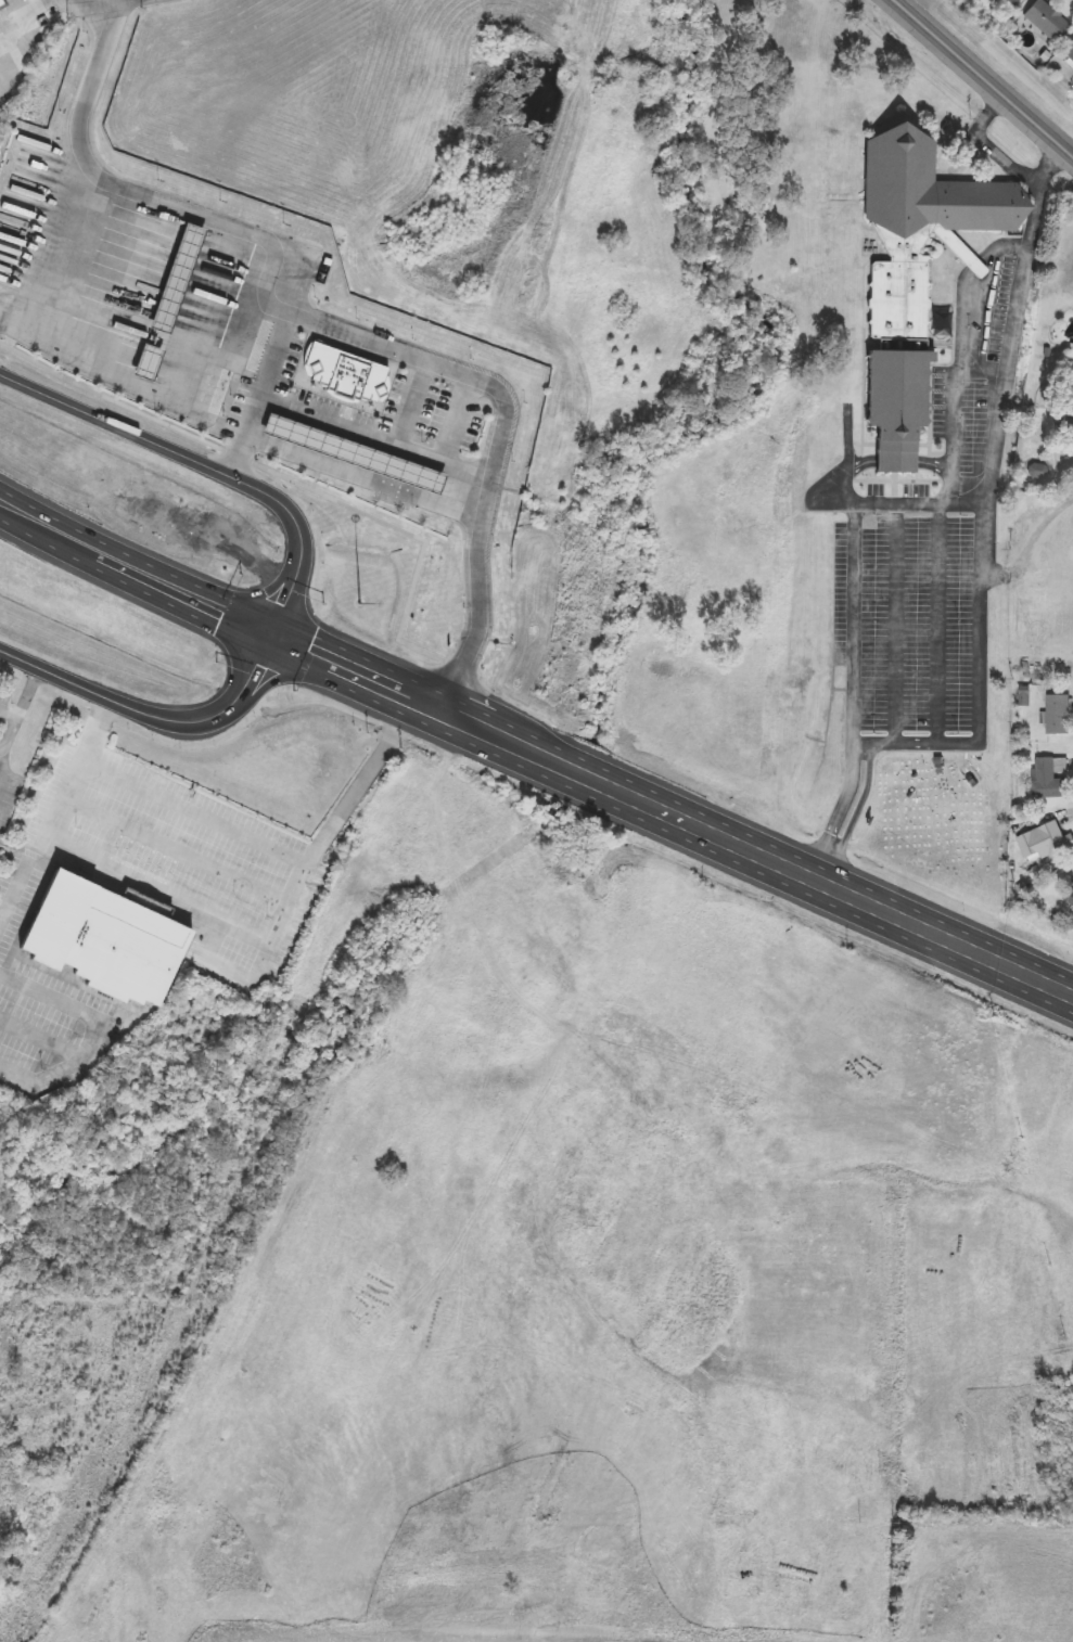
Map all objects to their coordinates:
road: (89, 1)
building: (1010, 2)
building: (1, 7)
road: (21, 8)
road: (26, 14)
building: (1046, 21)
building: (1069, 54)
road: (984, 76)
road: (1006, 161)
road: (77, 167)
road: (207, 215)
building: (911, 275)
road: (971, 286)
building: (345, 370)
road: (464, 374)
road: (956, 412)
building: (1064, 427)
road: (373, 432)
building: (353, 451)
gas station: (353, 451)
road: (850, 456)
road: (902, 461)
building: (1038, 471)
road: (314, 478)
road: (299, 483)
road: (980, 517)
road: (51, 529)
parking lot: (922, 568)
road: (296, 580)
road: (261, 594)
road: (189, 595)
street lamp: (363, 606)
building: (1031, 614)
road: (898, 624)
road: (940, 624)
traffic signals: (276, 631)
road: (854, 636)
road: (288, 674)
road: (31, 693)
road: (413, 693)
building: (1058, 716)
road: (8, 744)
road: (0, 751)
building: (1050, 779)
road: (197, 810)
road: (62, 818)
road: (329, 833)
railway: (352, 839)
building: (1046, 843)
road: (181, 849)
road: (812, 876)
road: (162, 893)
building: (1070, 894)
parking lot: (250, 929)
building: (102, 938)
road: (210, 960)
road: (98, 1034)
road: (42, 1036)

